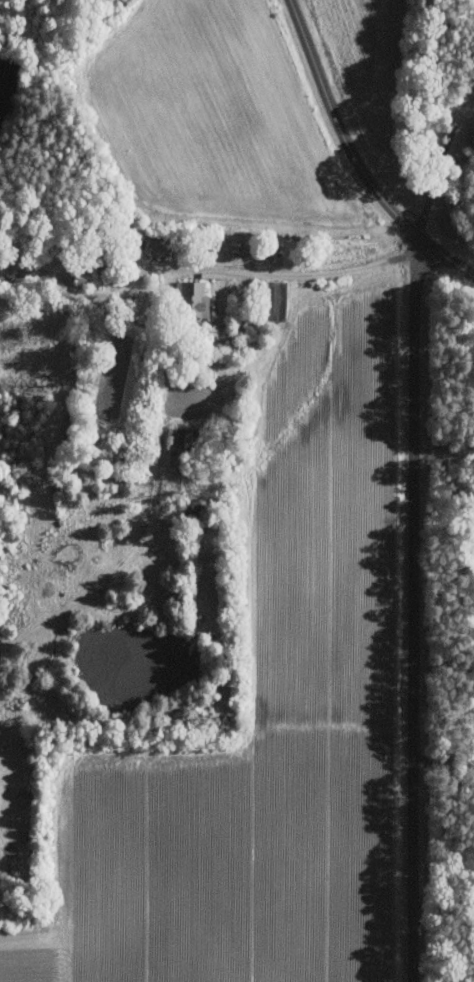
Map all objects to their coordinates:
road: (338, 126)
road: (440, 164)
road: (445, 255)
road: (317, 273)
building: (195, 298)
building: (186, 439)
road: (456, 450)
road: (427, 451)
road: (452, 484)
road: (415, 607)
road: (444, 760)
road: (444, 916)

